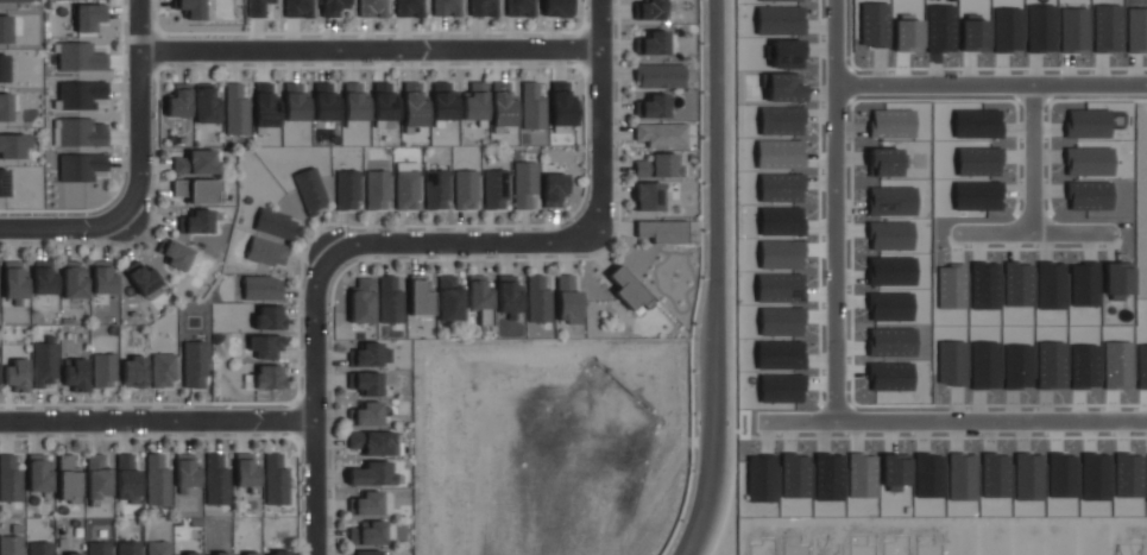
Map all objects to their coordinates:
building: (14, 0)
building: (256, 7)
building: (332, 7)
building: (445, 7)
building: (481, 7)
building: (518, 7)
building: (555, 7)
building: (190, 8)
building: (297, 8)
building: (408, 8)
building: (650, 10)
building: (88, 15)
building: (5, 29)
building: (653, 43)
road: (367, 51)
building: (2, 68)
building: (658, 75)
road: (989, 81)
building: (81, 94)
building: (324, 101)
building: (354, 101)
building: (384, 101)
building: (442, 101)
building: (295, 102)
building: (561, 103)
building: (178, 105)
building: (412, 105)
building: (502, 105)
building: (5, 106)
building: (265, 106)
building: (474, 106)
building: (530, 106)
building: (653, 106)
building: (206, 107)
building: (237, 109)
road: (138, 111)
road: (598, 116)
building: (80, 132)
building: (660, 133)
building: (11, 145)
road: (1033, 158)
building: (195, 164)
building: (657, 165)
building: (80, 166)
building: (2, 183)
building: (523, 183)
building: (494, 188)
building: (553, 188)
building: (466, 189)
building: (377, 190)
building: (405, 190)
building: (435, 190)
building: (197, 191)
building: (347, 191)
building: (310, 193)
building: (647, 196)
road: (836, 212)
building: (194, 222)
building: (275, 225)
road: (62, 227)
building: (660, 231)
road: (1033, 234)
road: (460, 244)
building: (266, 252)
building: (175, 257)
building: (143, 279)
road: (714, 279)
building: (43, 280)
building: (102, 280)
road: (697, 280)
building: (74, 283)
building: (14, 284)
building: (260, 289)
building: (628, 290)
building: (478, 292)
building: (508, 296)
building: (418, 297)
building: (449, 298)
building: (389, 299)
building: (536, 299)
building: (567, 299)
building: (361, 301)
building: (269, 319)
building: (265, 348)
building: (366, 354)
building: (194, 365)
building: (44, 366)
building: (163, 371)
building: (103, 372)
building: (133, 373)
building: (15, 374)
building: (74, 376)
building: (267, 378)
building: (366, 381)
road: (313, 402)
building: (367, 414)
road: (156, 420)
road: (953, 421)
building: (372, 441)
building: (185, 473)
building: (246, 473)
building: (370, 473)
building: (39, 477)
building: (126, 477)
building: (10, 478)
building: (96, 478)
building: (68, 480)
building: (157, 481)
building: (215, 481)
building: (275, 481)
building: (367, 503)
building: (367, 532)
building: (10, 547)
building: (38, 548)
building: (99, 549)
building: (127, 549)
building: (158, 549)
building: (276, 553)
building: (366, 553)
building: (69, 554)
building: (187, 554)
building: (216, 554)
building: (246, 554)

